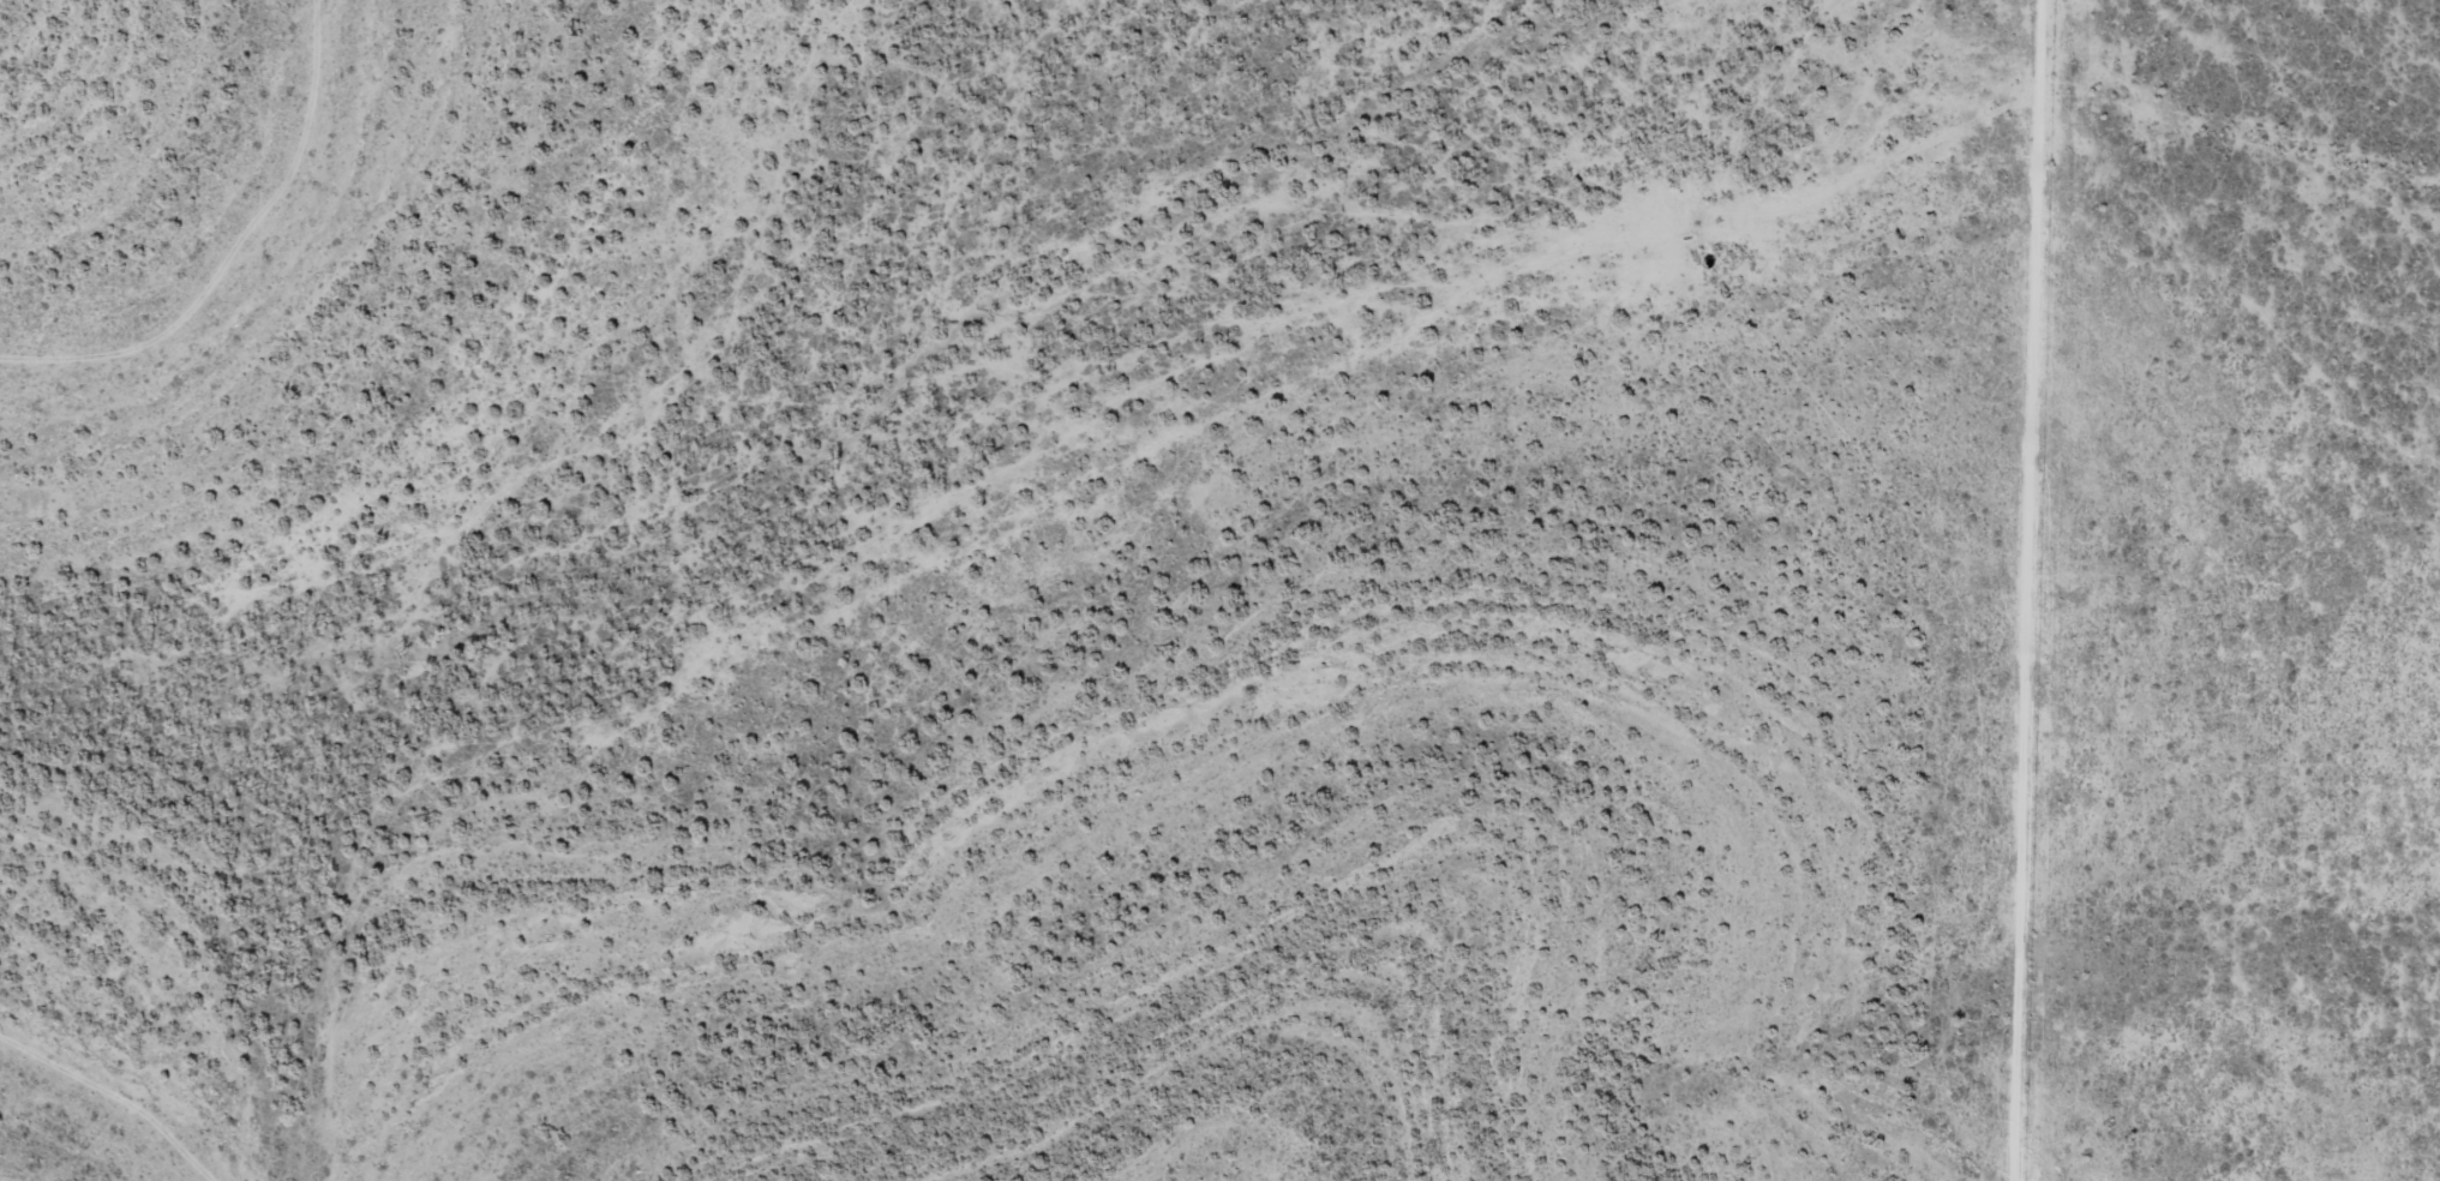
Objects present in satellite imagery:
road: (2040, 590)

